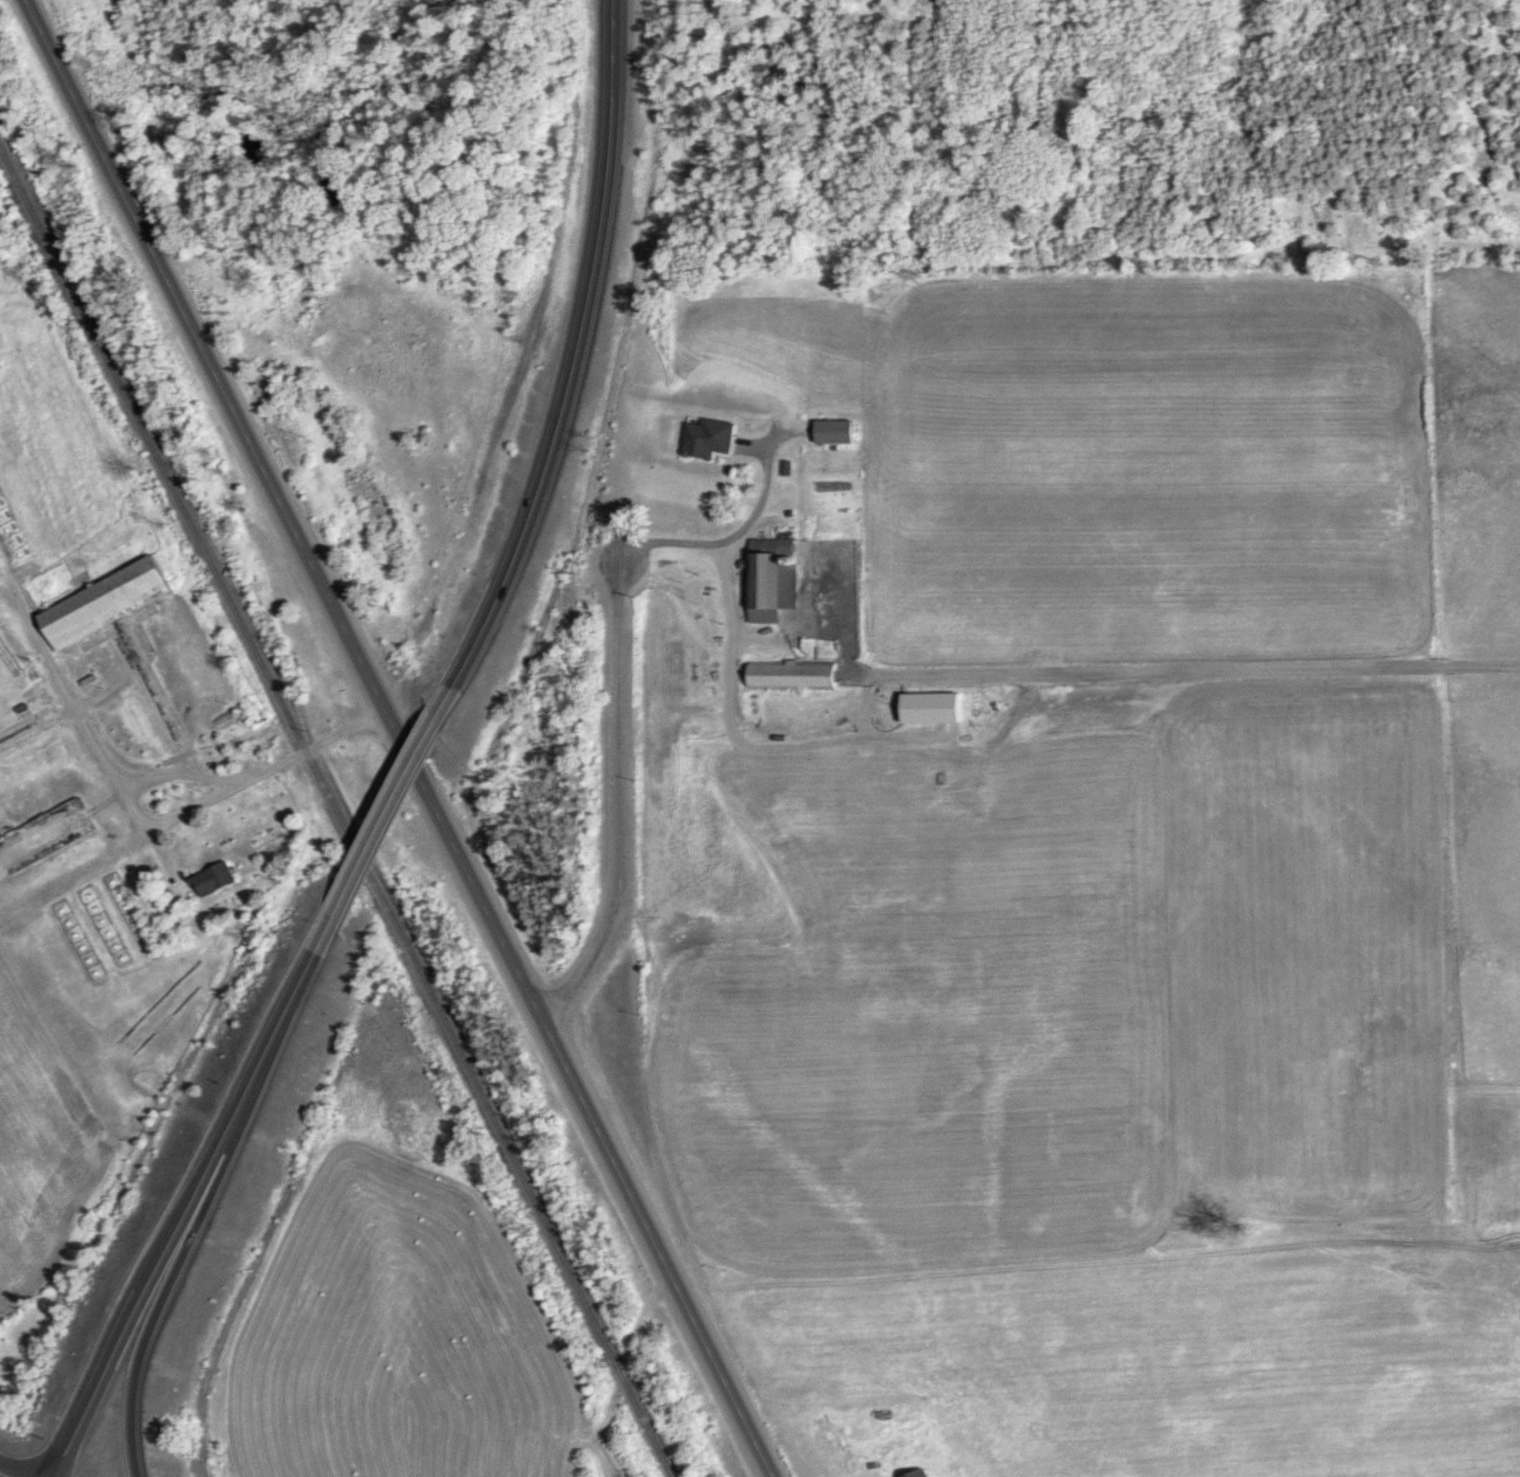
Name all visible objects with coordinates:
road: (576, 351)
building: (687, 503)
building: (772, 577)
building: (101, 602)
building: (791, 674)
road: (401, 739)
road: (406, 770)
road: (622, 802)
railway: (342, 808)
building: (211, 879)
road: (336, 906)
road: (178, 1215)
road: (136, 1372)
road: (22, 1459)
building: (918, 1472)
road: (49, 1474)

